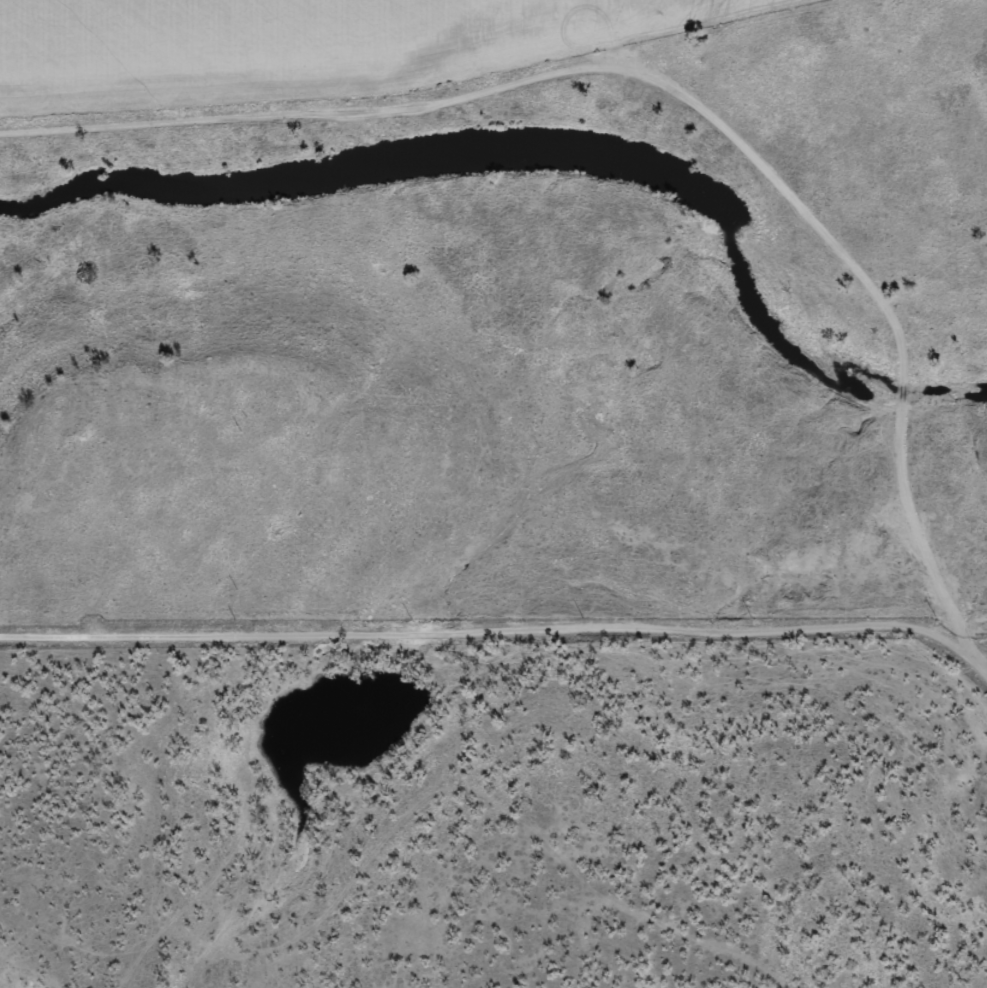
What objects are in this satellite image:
road: (677, 98)
road: (470, 633)

